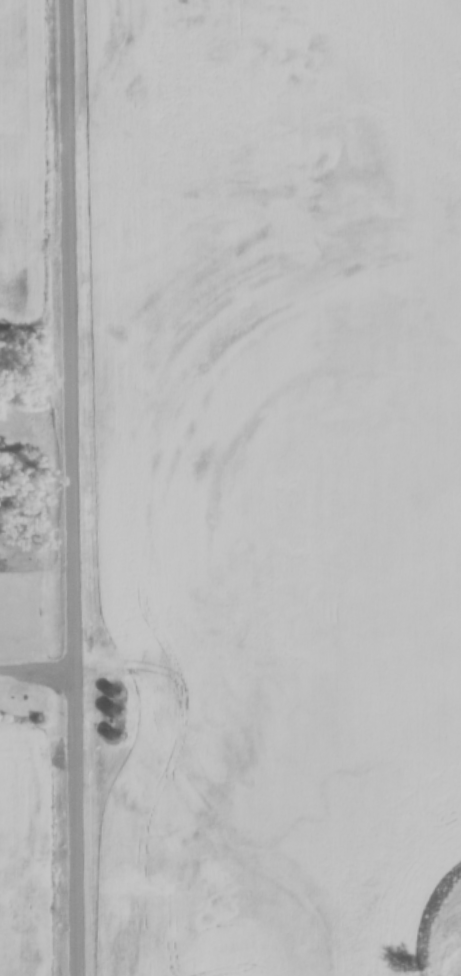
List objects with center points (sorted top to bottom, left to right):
crop: (20, 149)
crop: (269, 479)
road: (71, 487)
road: (36, 670)
building: (111, 691)
building: (113, 709)
building: (112, 733)
crop: (33, 839)

